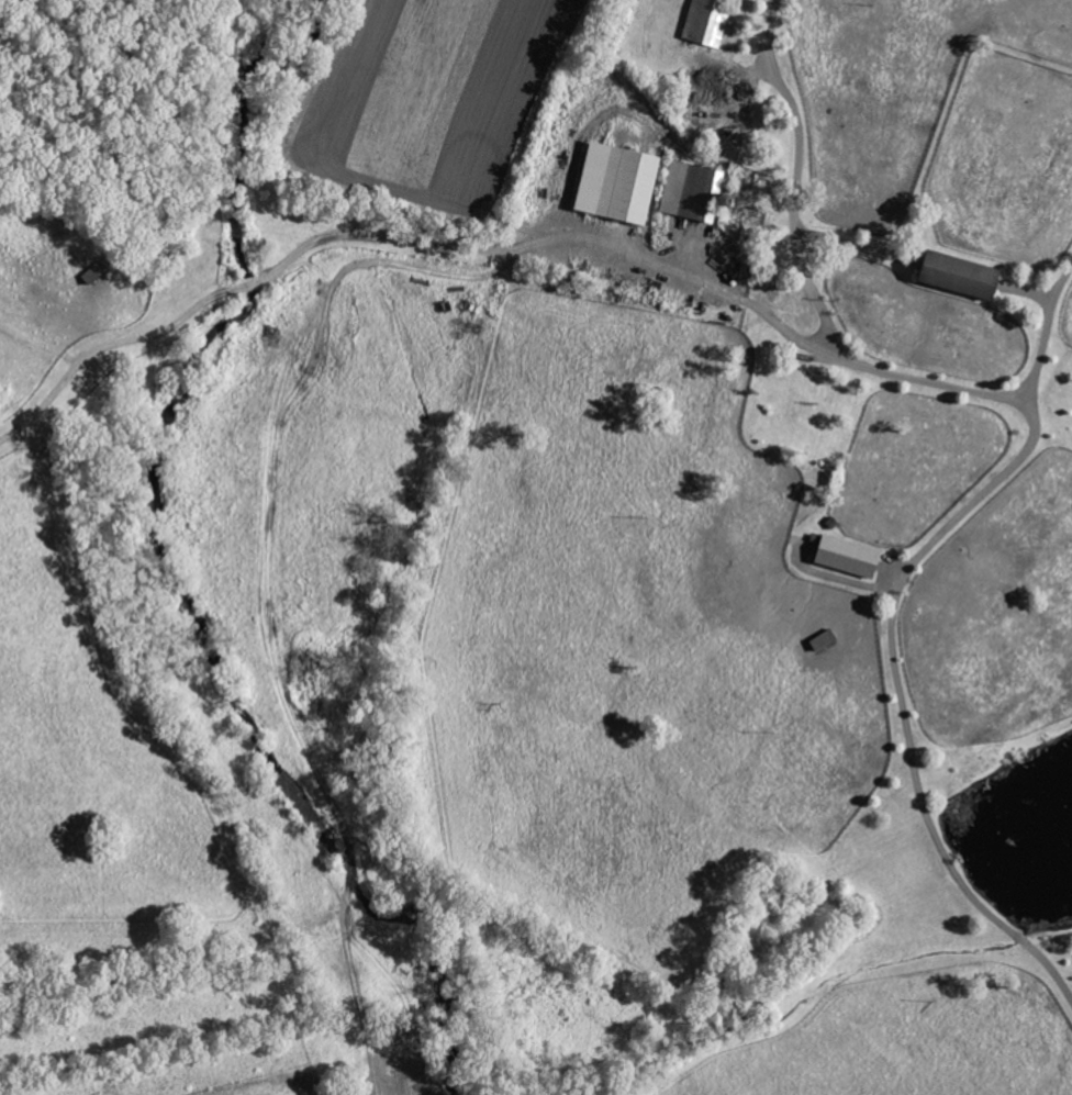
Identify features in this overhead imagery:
building: (704, 24)
building: (614, 185)
building: (689, 192)
road: (401, 241)
road: (847, 244)
building: (947, 275)
road: (808, 278)
road: (1030, 287)
building: (834, 556)
road: (895, 637)

